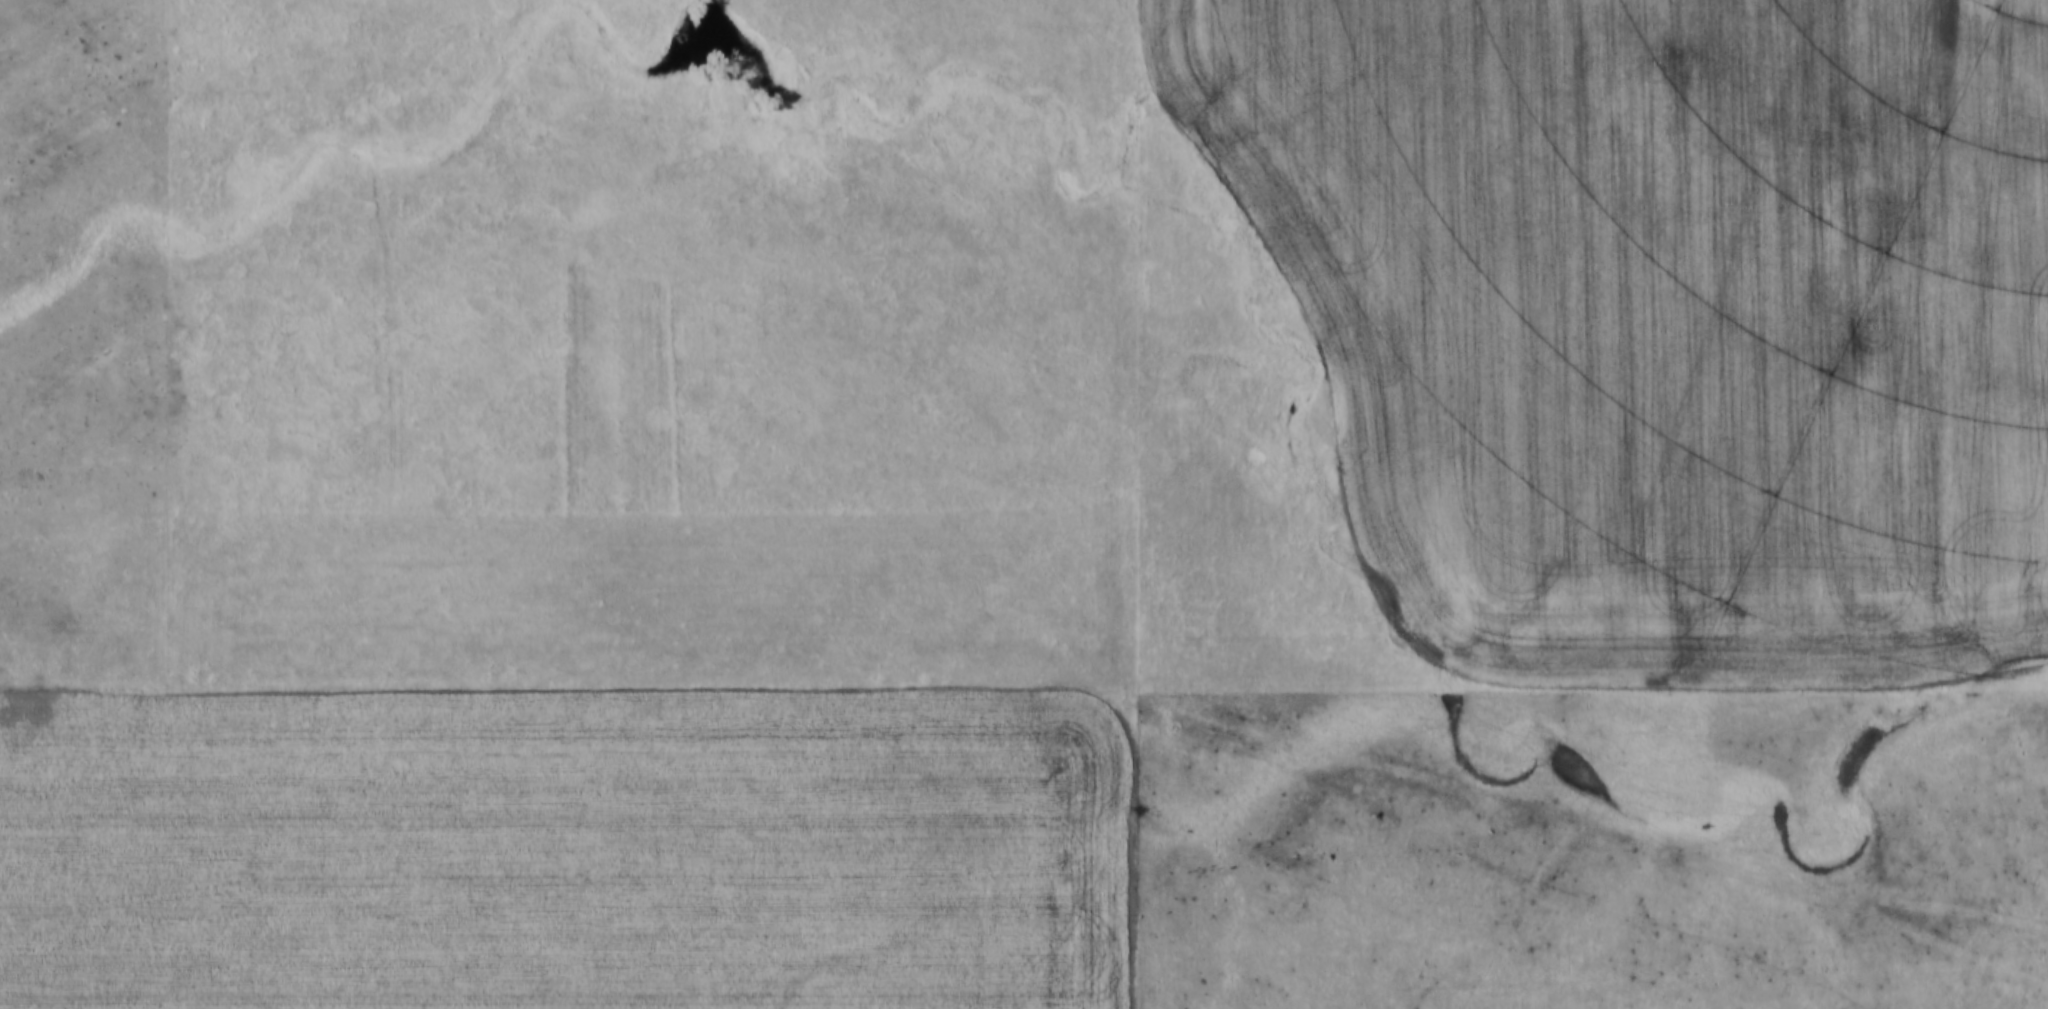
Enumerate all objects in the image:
crop: (564, 853)

